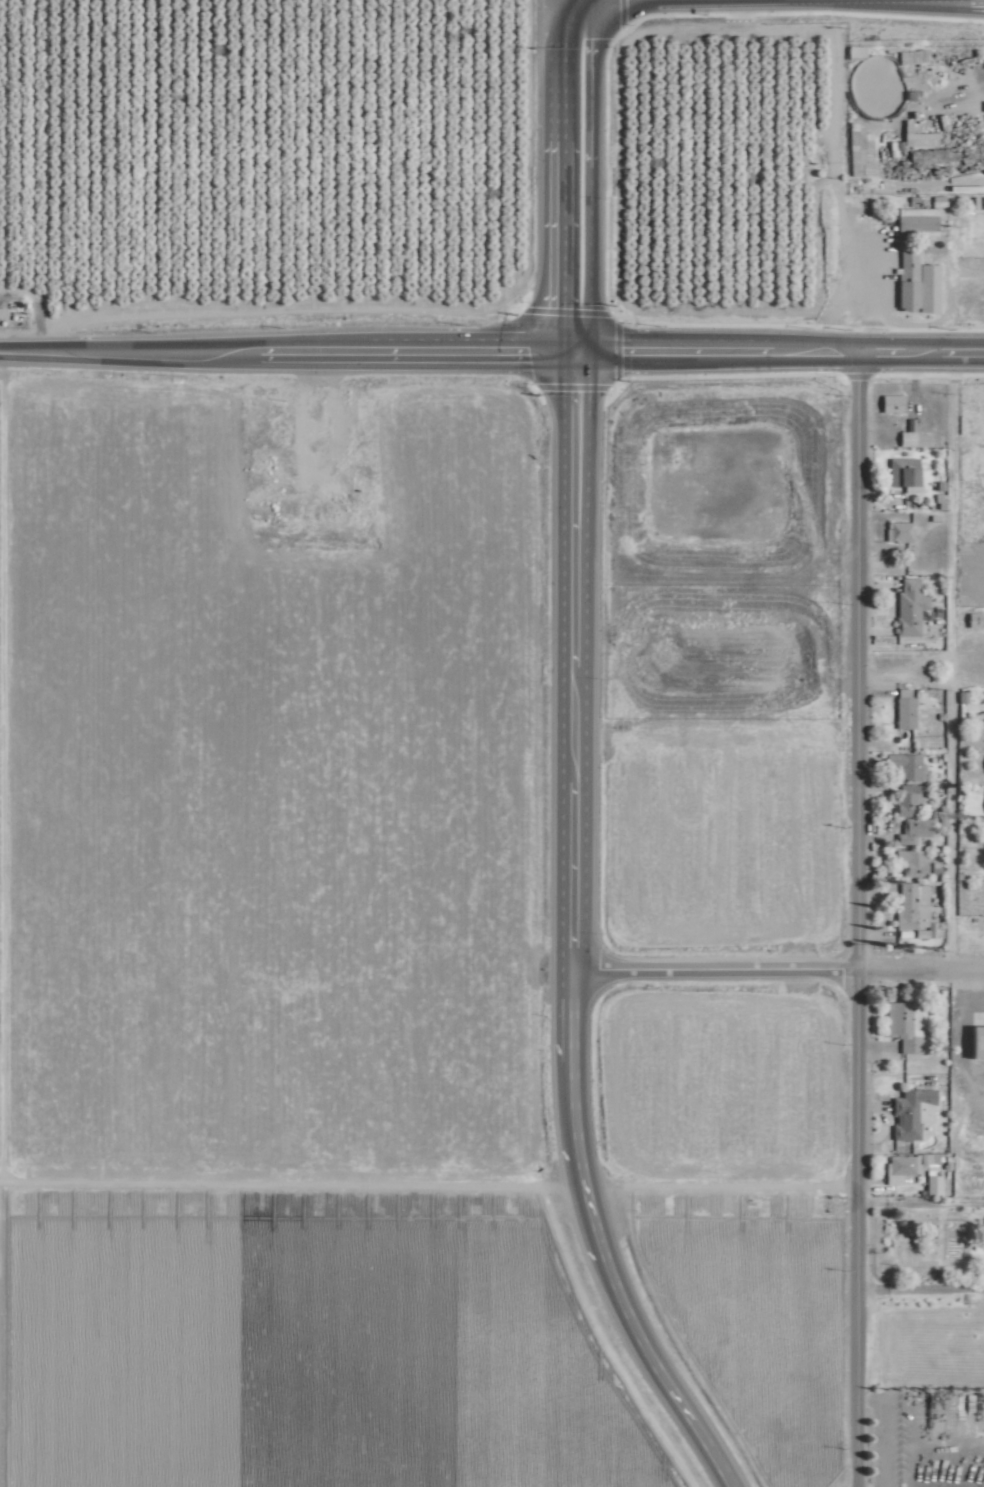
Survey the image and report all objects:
road: (915, 5)
building: (917, 138)
building: (857, 149)
road: (572, 174)
building: (913, 219)
road: (853, 239)
building: (913, 283)
road: (950, 295)
road: (284, 348)
road: (714, 349)
road: (921, 351)
building: (888, 402)
building: (252, 412)
building: (910, 438)
building: (253, 459)
building: (900, 473)
building: (257, 495)
building: (357, 515)
building: (896, 531)
building: (906, 607)
road: (856, 660)
building: (901, 709)
building: (982, 763)
building: (903, 765)
road: (950, 765)
building: (903, 799)
building: (910, 830)
building: (910, 862)
building: (911, 907)
road: (568, 932)
road: (711, 969)
road: (919, 970)
building: (903, 1026)
building: (973, 1042)
building: (910, 1111)
building: (914, 1169)
road: (716, 1187)
road: (918, 1202)
road: (853, 1228)
road: (918, 1287)
road: (883, 1431)

